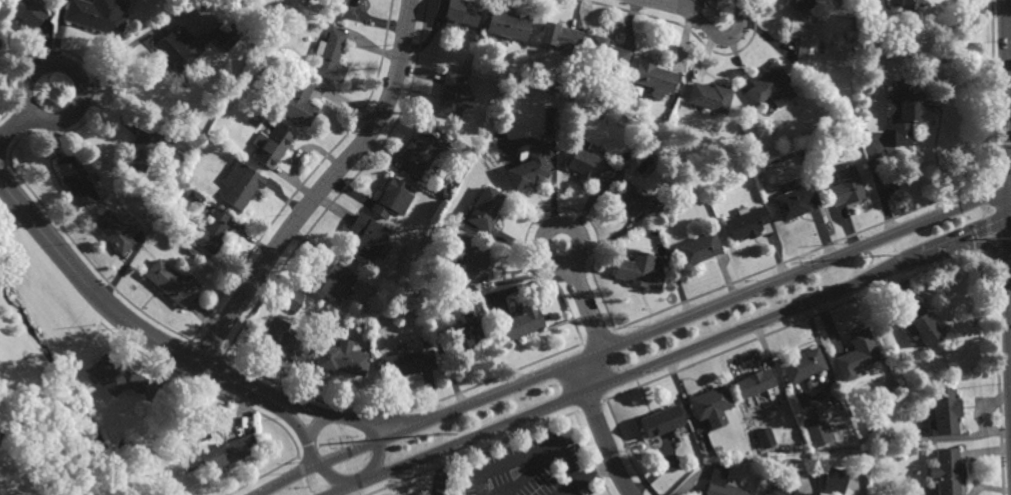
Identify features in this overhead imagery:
building: (802, 3)
building: (911, 3)
road: (680, 5)
building: (457, 12)
building: (27, 13)
building: (97, 17)
building: (506, 25)
building: (309, 26)
building: (221, 35)
building: (559, 35)
building: (804, 37)
road: (720, 43)
building: (176, 47)
building: (331, 55)
building: (605, 55)
building: (653, 76)
road: (79, 78)
building: (552, 84)
building: (769, 84)
building: (901, 84)
building: (453, 96)
building: (709, 96)
building: (299, 100)
building: (903, 112)
road: (14, 123)
building: (645, 127)
building: (550, 129)
road: (1008, 133)
building: (142, 145)
building: (272, 146)
building: (422, 153)
building: (587, 164)
building: (527, 170)
building: (75, 179)
building: (240, 183)
building: (844, 184)
road: (879, 187)
road: (323, 188)
building: (184, 189)
traffic signals: (1009, 190)
building: (193, 197)
building: (392, 198)
building: (633, 200)
building: (794, 201)
building: (484, 209)
traffic signals: (1010, 221)
building: (746, 223)
building: (117, 229)
building: (211, 231)
building: (366, 239)
building: (698, 248)
power tower: (883, 256)
road: (550, 261)
building: (474, 263)
building: (637, 270)
building: (332, 282)
building: (170, 283)
road: (98, 294)
building: (291, 299)
building: (430, 307)
building: (521, 320)
road: (593, 322)
building: (918, 322)
building: (468, 331)
road: (634, 338)
building: (284, 341)
building: (856, 354)
road: (672, 358)
building: (342, 360)
building: (406, 363)
building: (804, 364)
building: (115, 376)
building: (754, 387)
building: (710, 405)
building: (945, 411)
road: (322, 413)
building: (660, 421)
road: (297, 425)
road: (316, 425)
road: (601, 429)
building: (817, 430)
power tower: (439, 434)
building: (764, 437)
road: (379, 445)
building: (225, 450)
road: (544, 451)
building: (946, 471)
road: (438, 473)
building: (834, 480)
building: (722, 482)
road: (571, 487)
building: (780, 490)
road: (344, 493)

